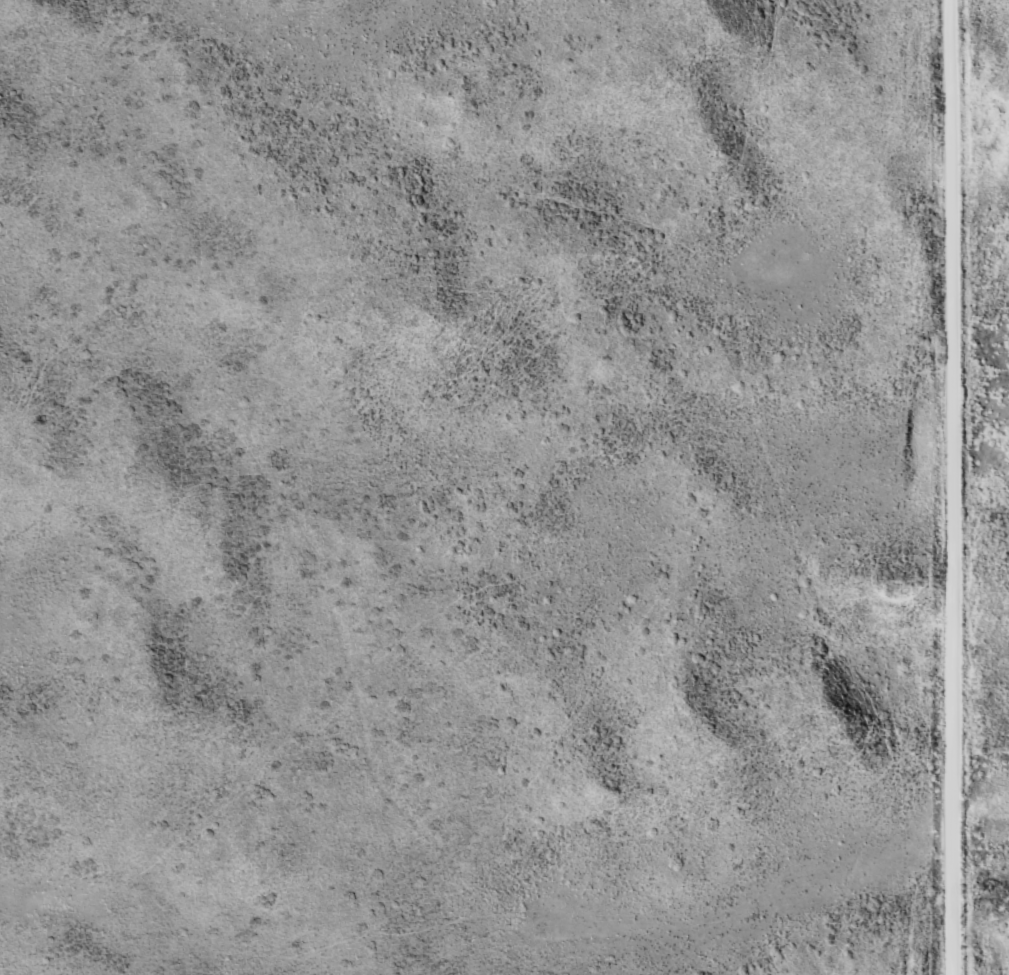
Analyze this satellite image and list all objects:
road: (954, 487)

